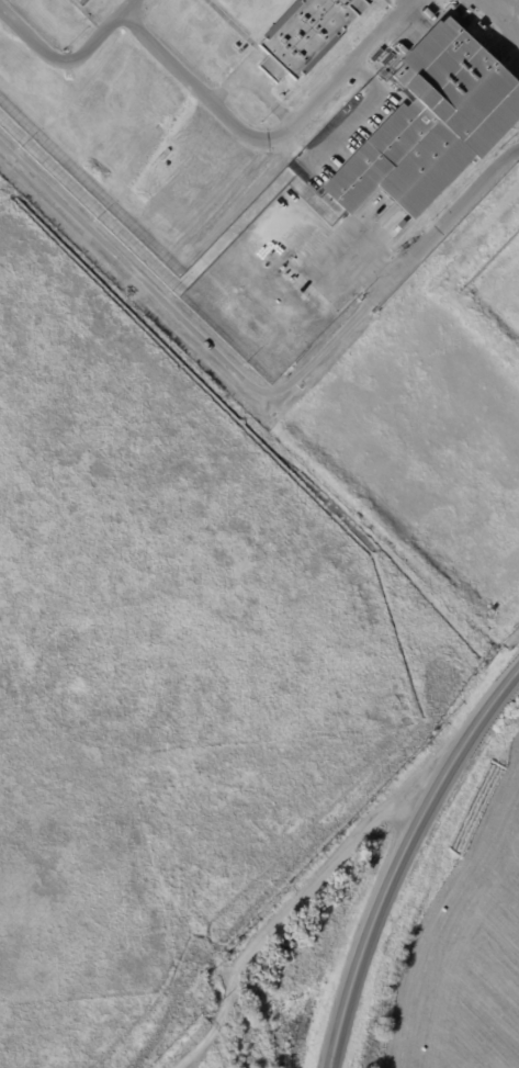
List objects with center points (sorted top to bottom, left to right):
road: (516, 5)
road: (518, 9)
building: (305, 35)
road: (65, 58)
road: (253, 83)
building: (430, 125)
road: (347, 130)
road: (266, 135)
road: (449, 215)
building: (289, 273)
road: (189, 328)
airport: (171, 671)
road: (404, 859)
road: (308, 895)
road: (198, 1043)

